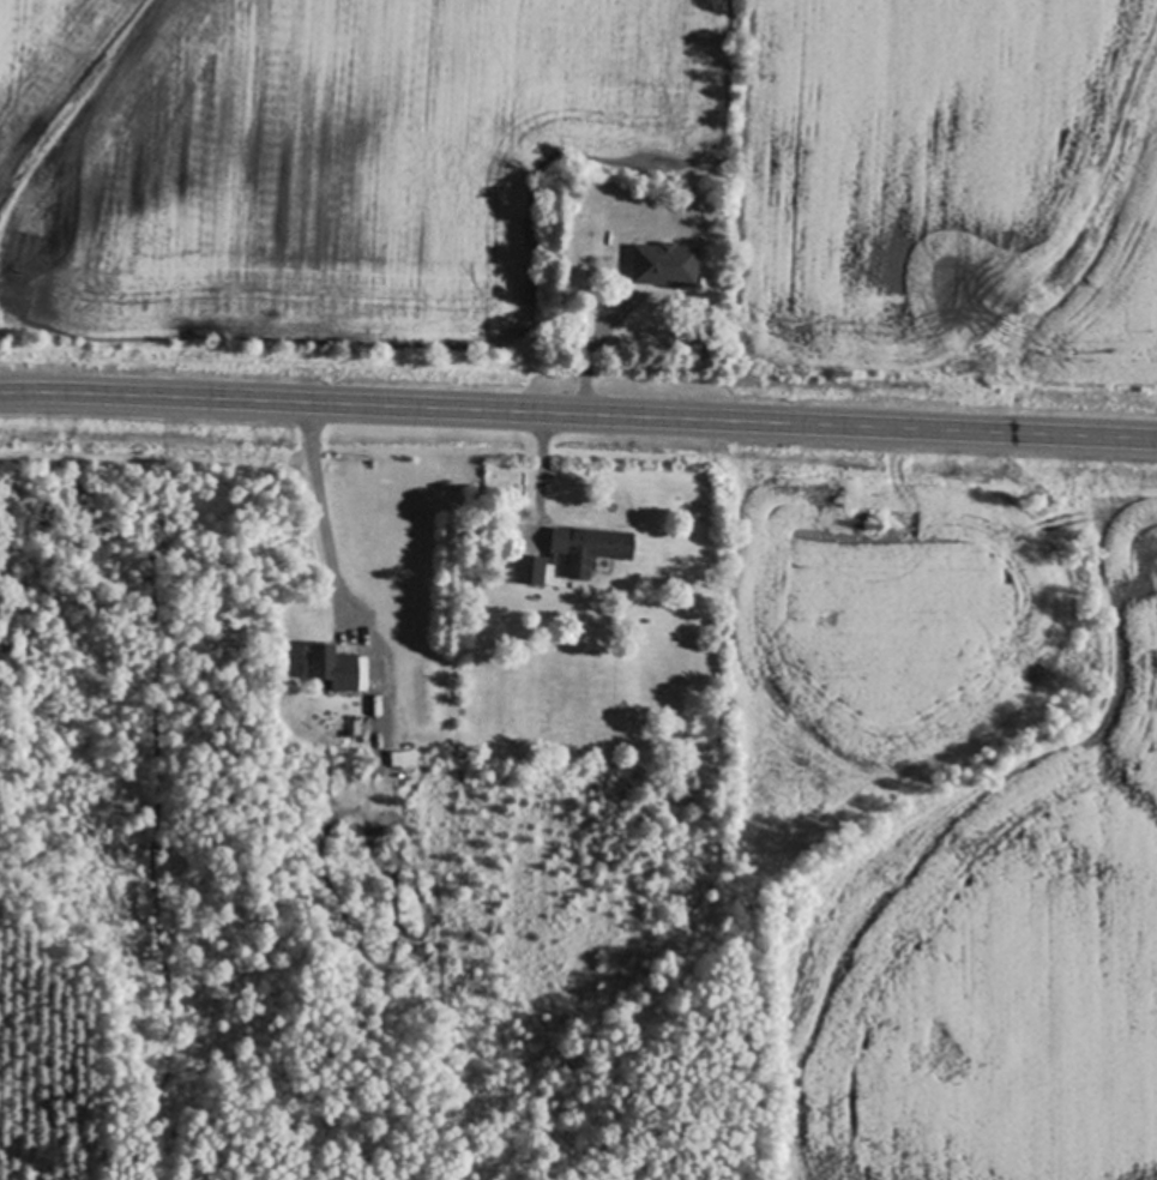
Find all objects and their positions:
building: (662, 264)
road: (578, 414)
building: (573, 550)
building: (337, 668)
building: (356, 727)
building: (403, 757)

